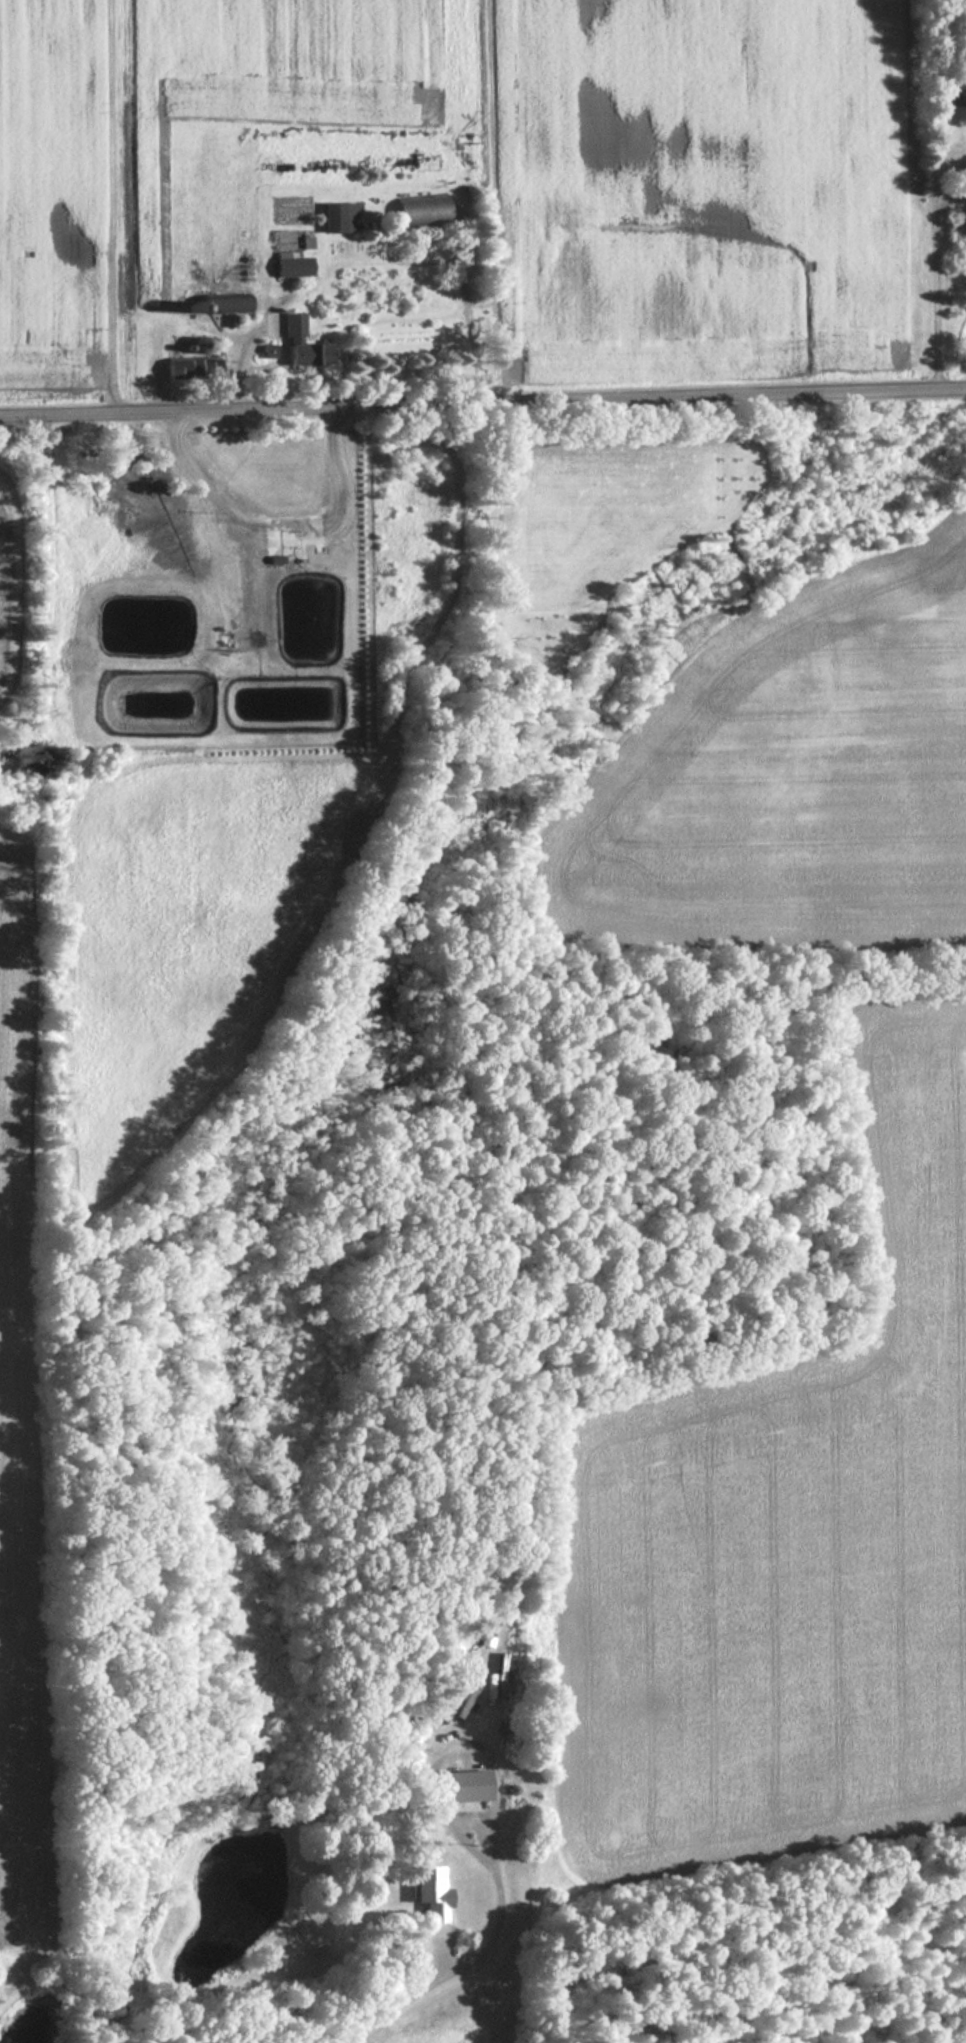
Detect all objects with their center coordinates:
building: (954, 93)
building: (422, 211)
building: (338, 217)
building: (293, 265)
building: (226, 305)
building: (303, 345)
building: (193, 369)
road: (482, 398)
building: (465, 1786)
building: (432, 1890)

